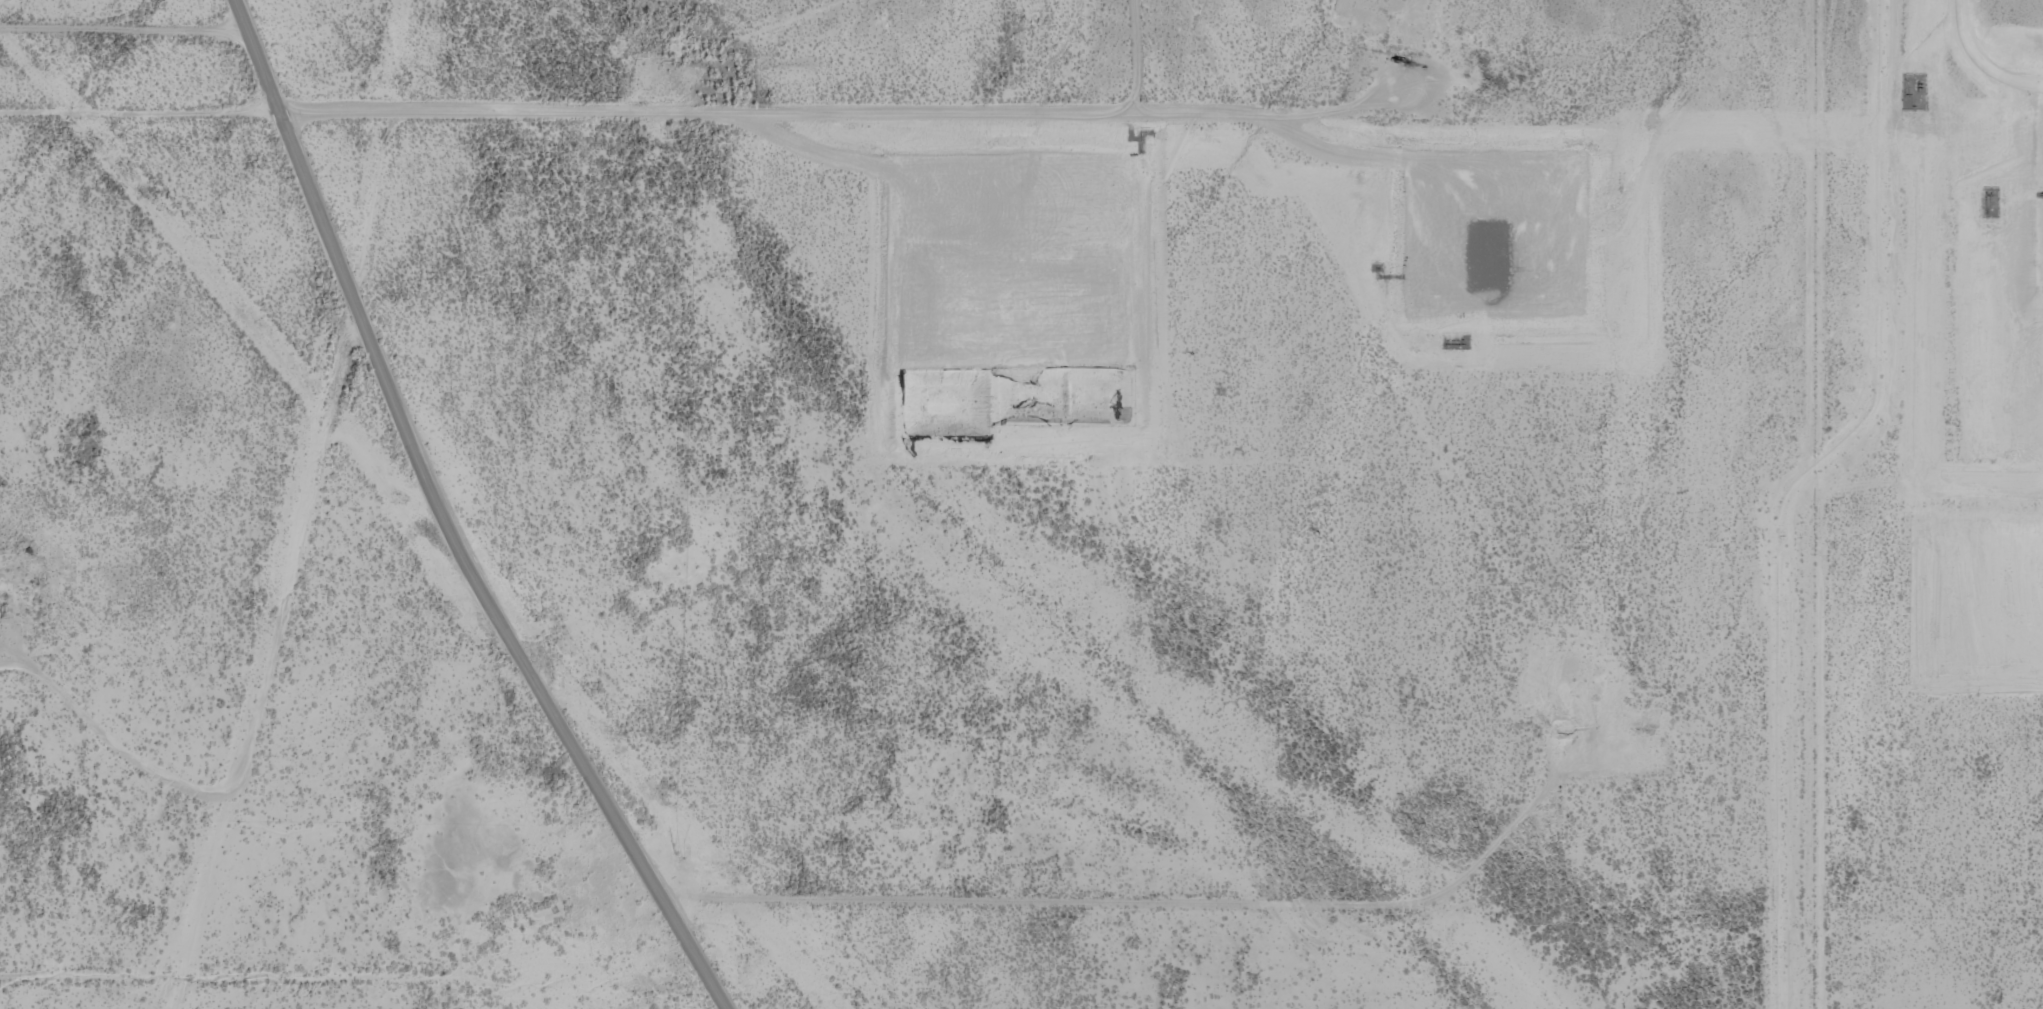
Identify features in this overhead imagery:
road: (696, 132)
road: (1811, 504)
road: (408, 518)
road: (905, 924)

